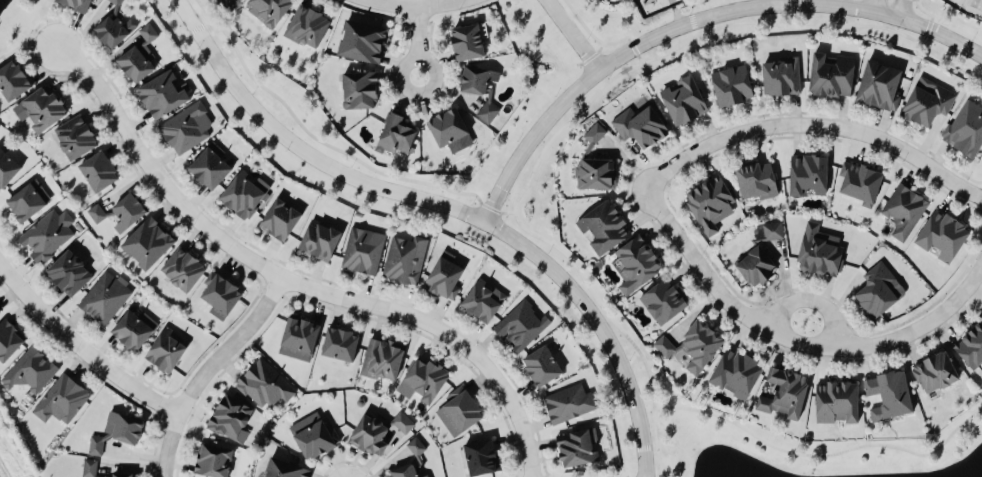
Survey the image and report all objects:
building: (115, 1)
road: (671, 2)
building: (76, 4)
road: (410, 4)
road: (869, 5)
road: (895, 8)
building: (267, 9)
road: (675, 14)
building: (306, 25)
road: (712, 27)
road: (927, 27)
building: (112, 28)
road: (591, 32)
road: (569, 34)
road: (925, 35)
building: (361, 39)
road: (417, 40)
building: (466, 40)
road: (635, 42)
road: (634, 48)
road: (596, 51)
building: (139, 54)
building: (830, 73)
building: (780, 74)
building: (476, 77)
building: (12, 78)
building: (879, 83)
building: (731, 84)
building: (360, 88)
building: (163, 91)
building: (682, 98)
building: (926, 100)
building: (42, 106)
building: (486, 110)
building: (446, 124)
building: (640, 125)
building: (186, 126)
building: (965, 126)
building: (594, 132)
building: (394, 133)
building: (74, 135)
building: (210, 164)
building: (7, 166)
building: (98, 169)
building: (594, 172)
building: (807, 173)
building: (755, 177)
building: (859, 181)
building: (243, 192)
building: (27, 199)
building: (709, 202)
road: (447, 208)
building: (903, 209)
building: (119, 211)
road: (661, 215)
building: (279, 217)
building: (603, 225)
building: (772, 228)
building: (941, 234)
building: (44, 235)
building: (319, 238)
building: (147, 241)
building: (362, 249)
building: (818, 249)
building: (404, 258)
building: (634, 262)
building: (755, 265)
building: (182, 267)
building: (68, 271)
building: (445, 274)
road: (288, 280)
building: (878, 289)
building: (220, 293)
building: (105, 295)
building: (482, 298)
building: (663, 299)
road: (805, 300)
road: (609, 315)
building: (520, 323)
building: (133, 327)
building: (299, 332)
building: (9, 337)
building: (339, 342)
building: (700, 343)
building: (663, 344)
building: (970, 346)
building: (166, 347)
road: (79, 348)
building: (382, 356)
building: (541, 364)
road: (203, 368)
building: (29, 369)
building: (933, 370)
building: (735, 371)
building: (422, 378)
building: (263, 383)
building: (783, 391)
building: (888, 392)
building: (61, 397)
building: (836, 400)
building: (568, 401)
building: (458, 410)
building: (229, 417)
building: (402, 421)
building: (125, 426)
building: (370, 432)
building: (312, 434)
building: (95, 443)
building: (415, 444)
building: (577, 446)
road: (822, 453)
building: (481, 455)
building: (211, 459)
building: (90, 464)
building: (283, 468)
building: (403, 470)
building: (423, 476)

